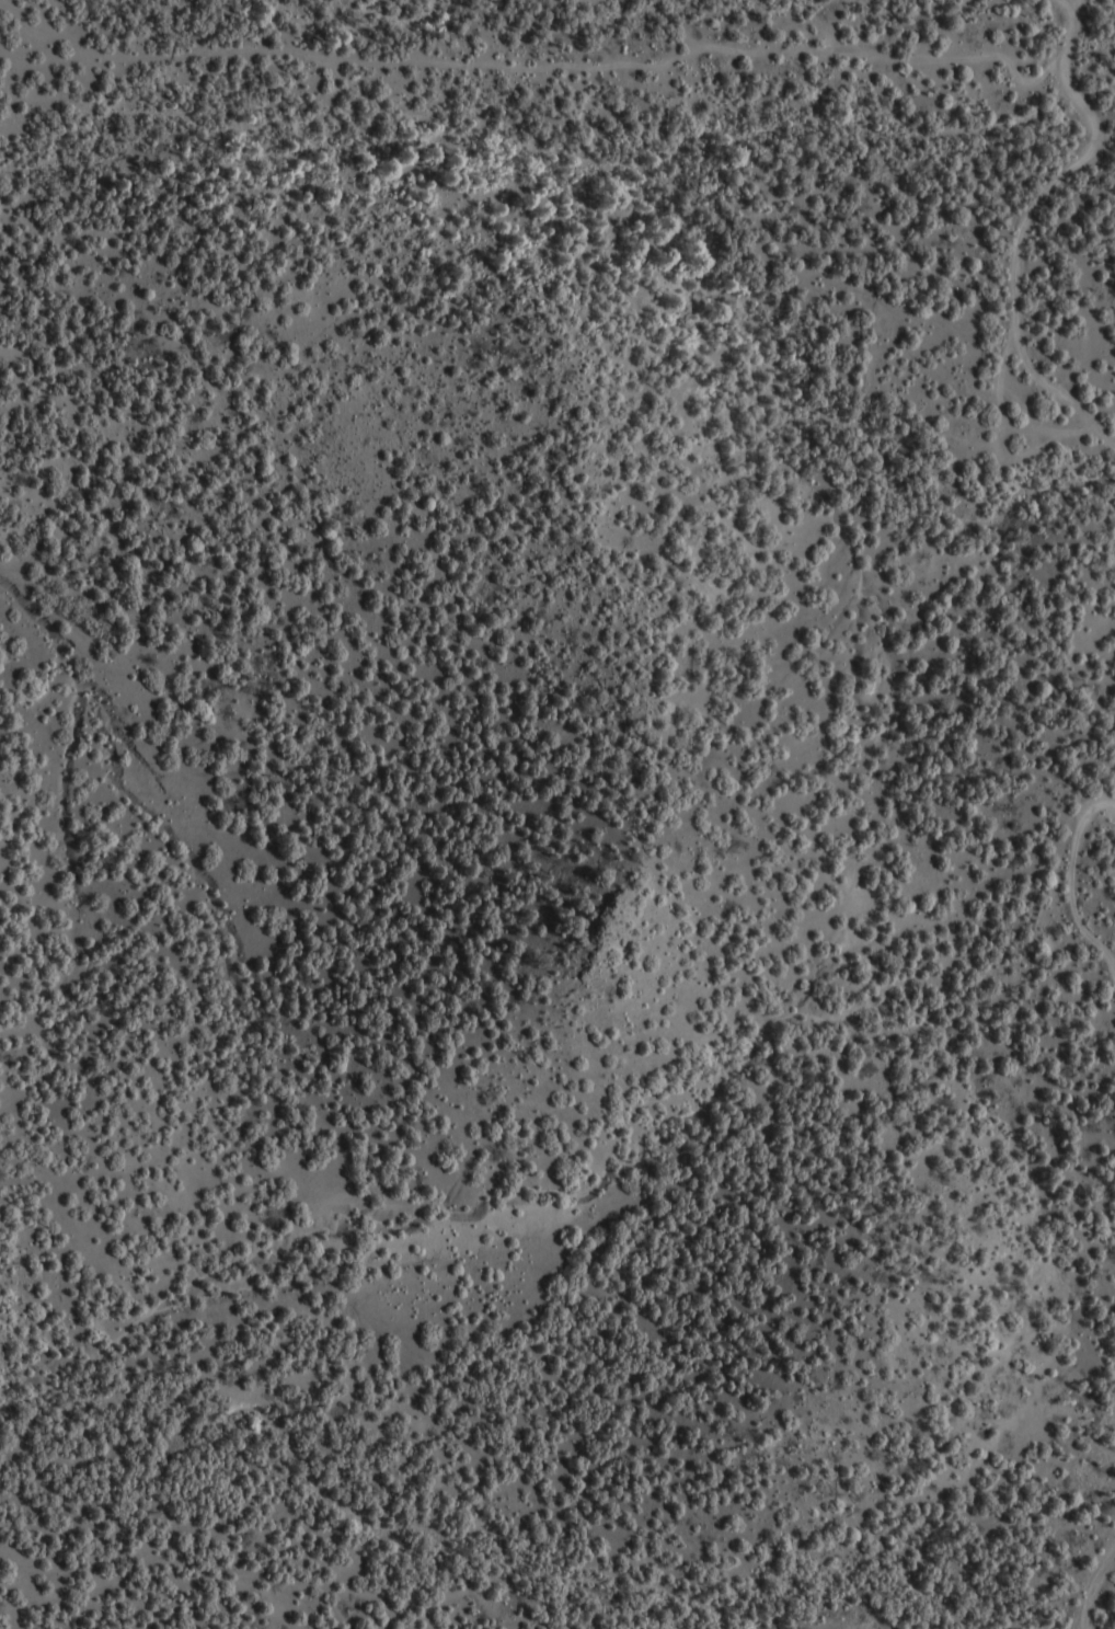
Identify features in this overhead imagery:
road: (530, 72)
road: (1027, 220)
road: (1071, 880)
road: (1081, 1551)

